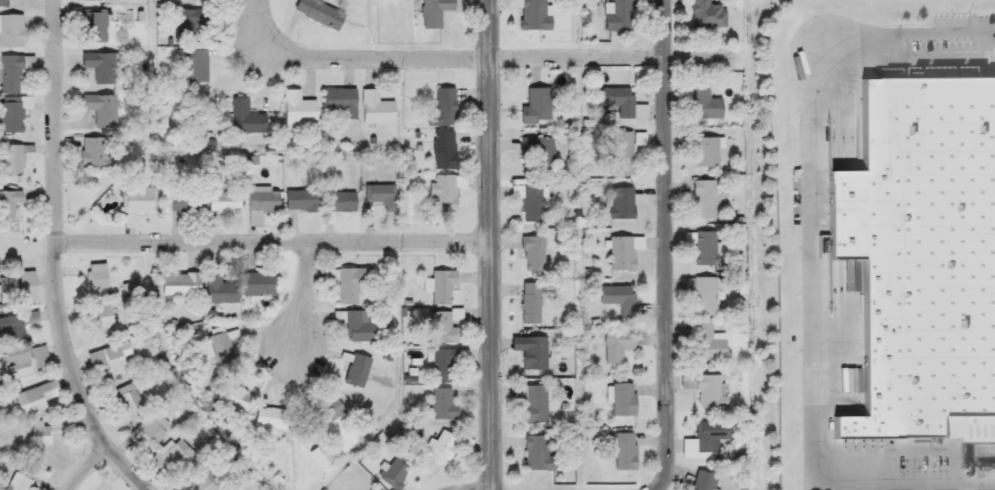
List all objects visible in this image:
building: (203, 1)
building: (2, 3)
building: (434, 12)
building: (318, 13)
building: (705, 14)
building: (534, 15)
building: (616, 15)
building: (189, 26)
building: (94, 27)
building: (11, 31)
road: (943, 34)
road: (476, 59)
building: (191, 66)
building: (100, 67)
building: (11, 73)
building: (340, 102)
building: (619, 102)
building: (704, 105)
building: (536, 107)
building: (297, 108)
building: (100, 109)
building: (375, 109)
building: (442, 109)
building: (11, 116)
building: (245, 118)
building: (443, 151)
building: (703, 151)
building: (538, 152)
building: (620, 153)
building: (95, 155)
building: (11, 161)
building: (445, 192)
building: (381, 196)
building: (138, 200)
building: (262, 200)
building: (703, 200)
building: (300, 201)
building: (336, 202)
building: (8, 203)
building: (184, 203)
building: (529, 203)
building: (221, 204)
building: (620, 204)
road: (272, 241)
road: (490, 244)
road: (665, 246)
building: (707, 249)
building: (622, 252)
building: (922, 253)
building: (533, 254)
road: (54, 256)
building: (96, 276)
building: (180, 284)
building: (256, 284)
building: (348, 285)
building: (7, 287)
building: (220, 288)
building: (441, 288)
building: (704, 296)
road: (303, 298)
building: (618, 299)
building: (529, 303)
building: (97, 317)
road: (809, 322)
building: (16, 325)
building: (354, 326)
building: (444, 328)
building: (707, 342)
building: (619, 345)
building: (217, 348)
building: (534, 354)
building: (104, 357)
building: (24, 361)
building: (445, 364)
building: (355, 373)
building: (710, 392)
building: (127, 397)
building: (621, 400)
building: (33, 401)
building: (233, 401)
building: (534, 404)
building: (442, 406)
building: (326, 413)
building: (270, 419)
building: (153, 429)
building: (40, 435)
building: (709, 436)
building: (978, 436)
building: (445, 448)
building: (624, 452)
building: (537, 454)
building: (178, 456)
building: (320, 457)
road: (83, 467)
building: (393, 476)
building: (19, 479)
building: (202, 480)
building: (703, 481)
building: (372, 489)

